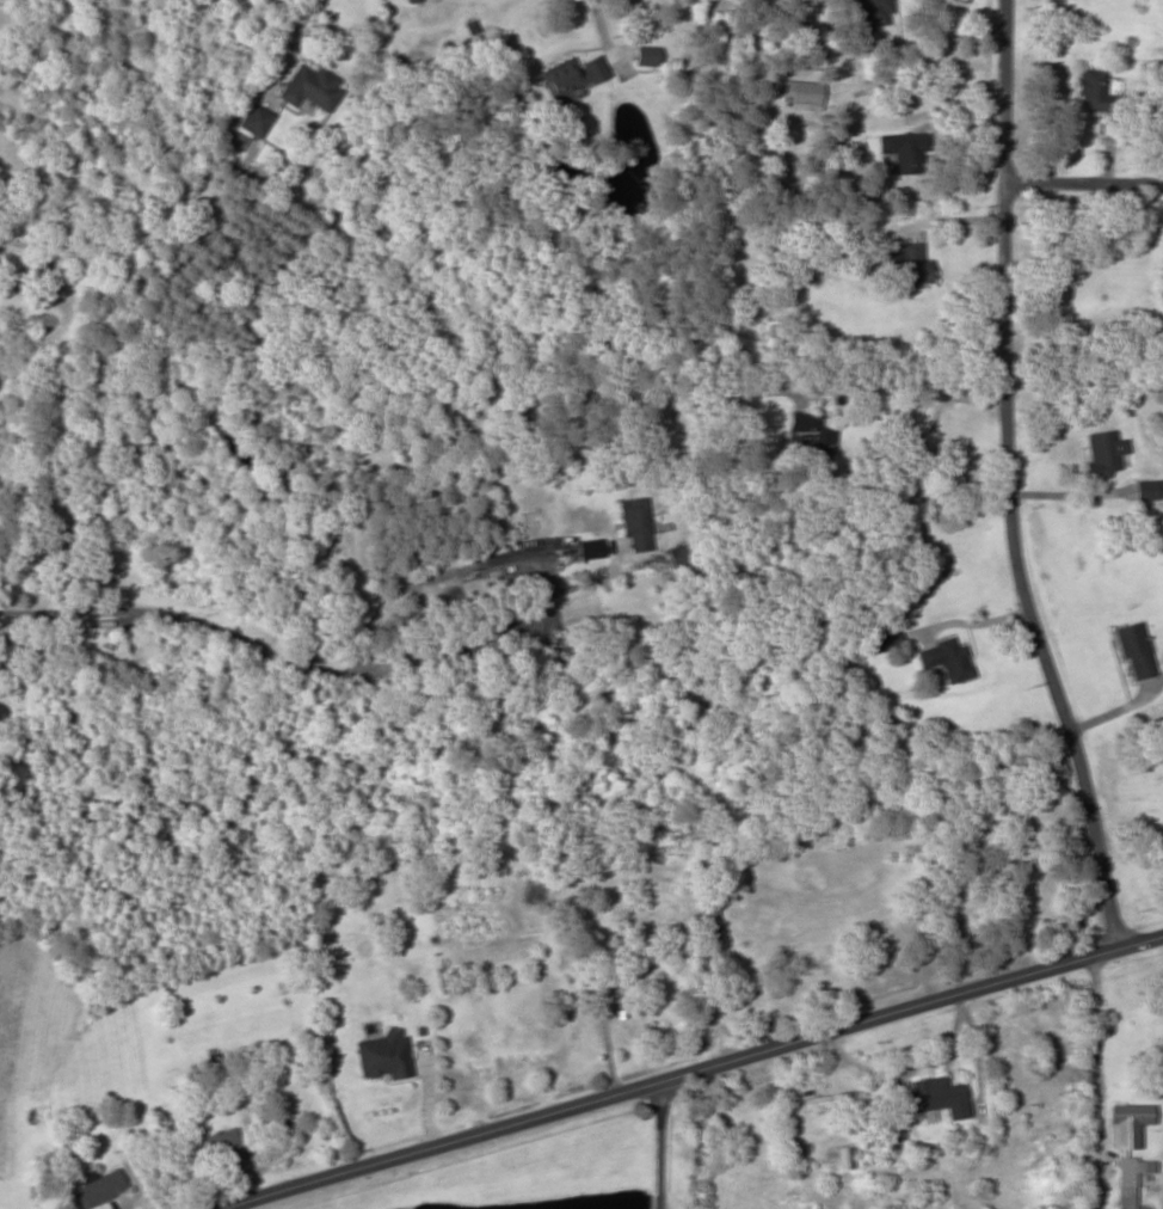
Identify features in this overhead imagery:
building: (873, 12)
building: (646, 55)
building: (570, 75)
building: (309, 87)
building: (1096, 92)
building: (254, 119)
building: (899, 152)
road: (1078, 183)
building: (906, 264)
building: (810, 436)
building: (1103, 453)
road: (1004, 480)
building: (1149, 489)
building: (634, 524)
building: (681, 557)
building: (1133, 649)
building: (947, 658)
building: (707, 912)
building: (601, 993)
building: (383, 1056)
road: (683, 1072)
building: (939, 1097)
building: (829, 1100)
building: (1127, 1123)
road: (675, 1141)
building: (217, 1143)
building: (843, 1158)
building: (1130, 1179)
building: (97, 1189)

